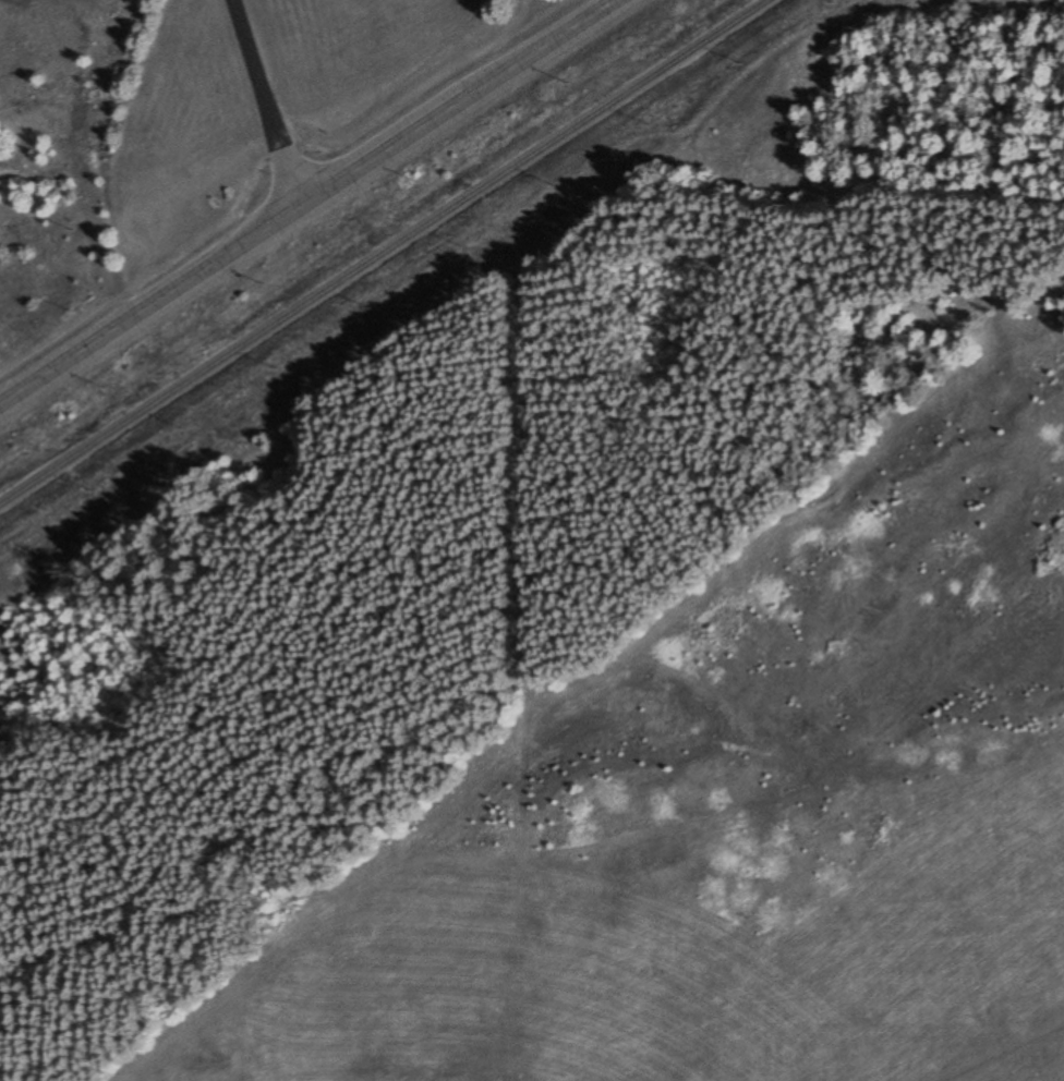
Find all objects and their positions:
airport: (314, 22)
road: (267, 100)
road: (305, 199)
railway: (384, 252)

